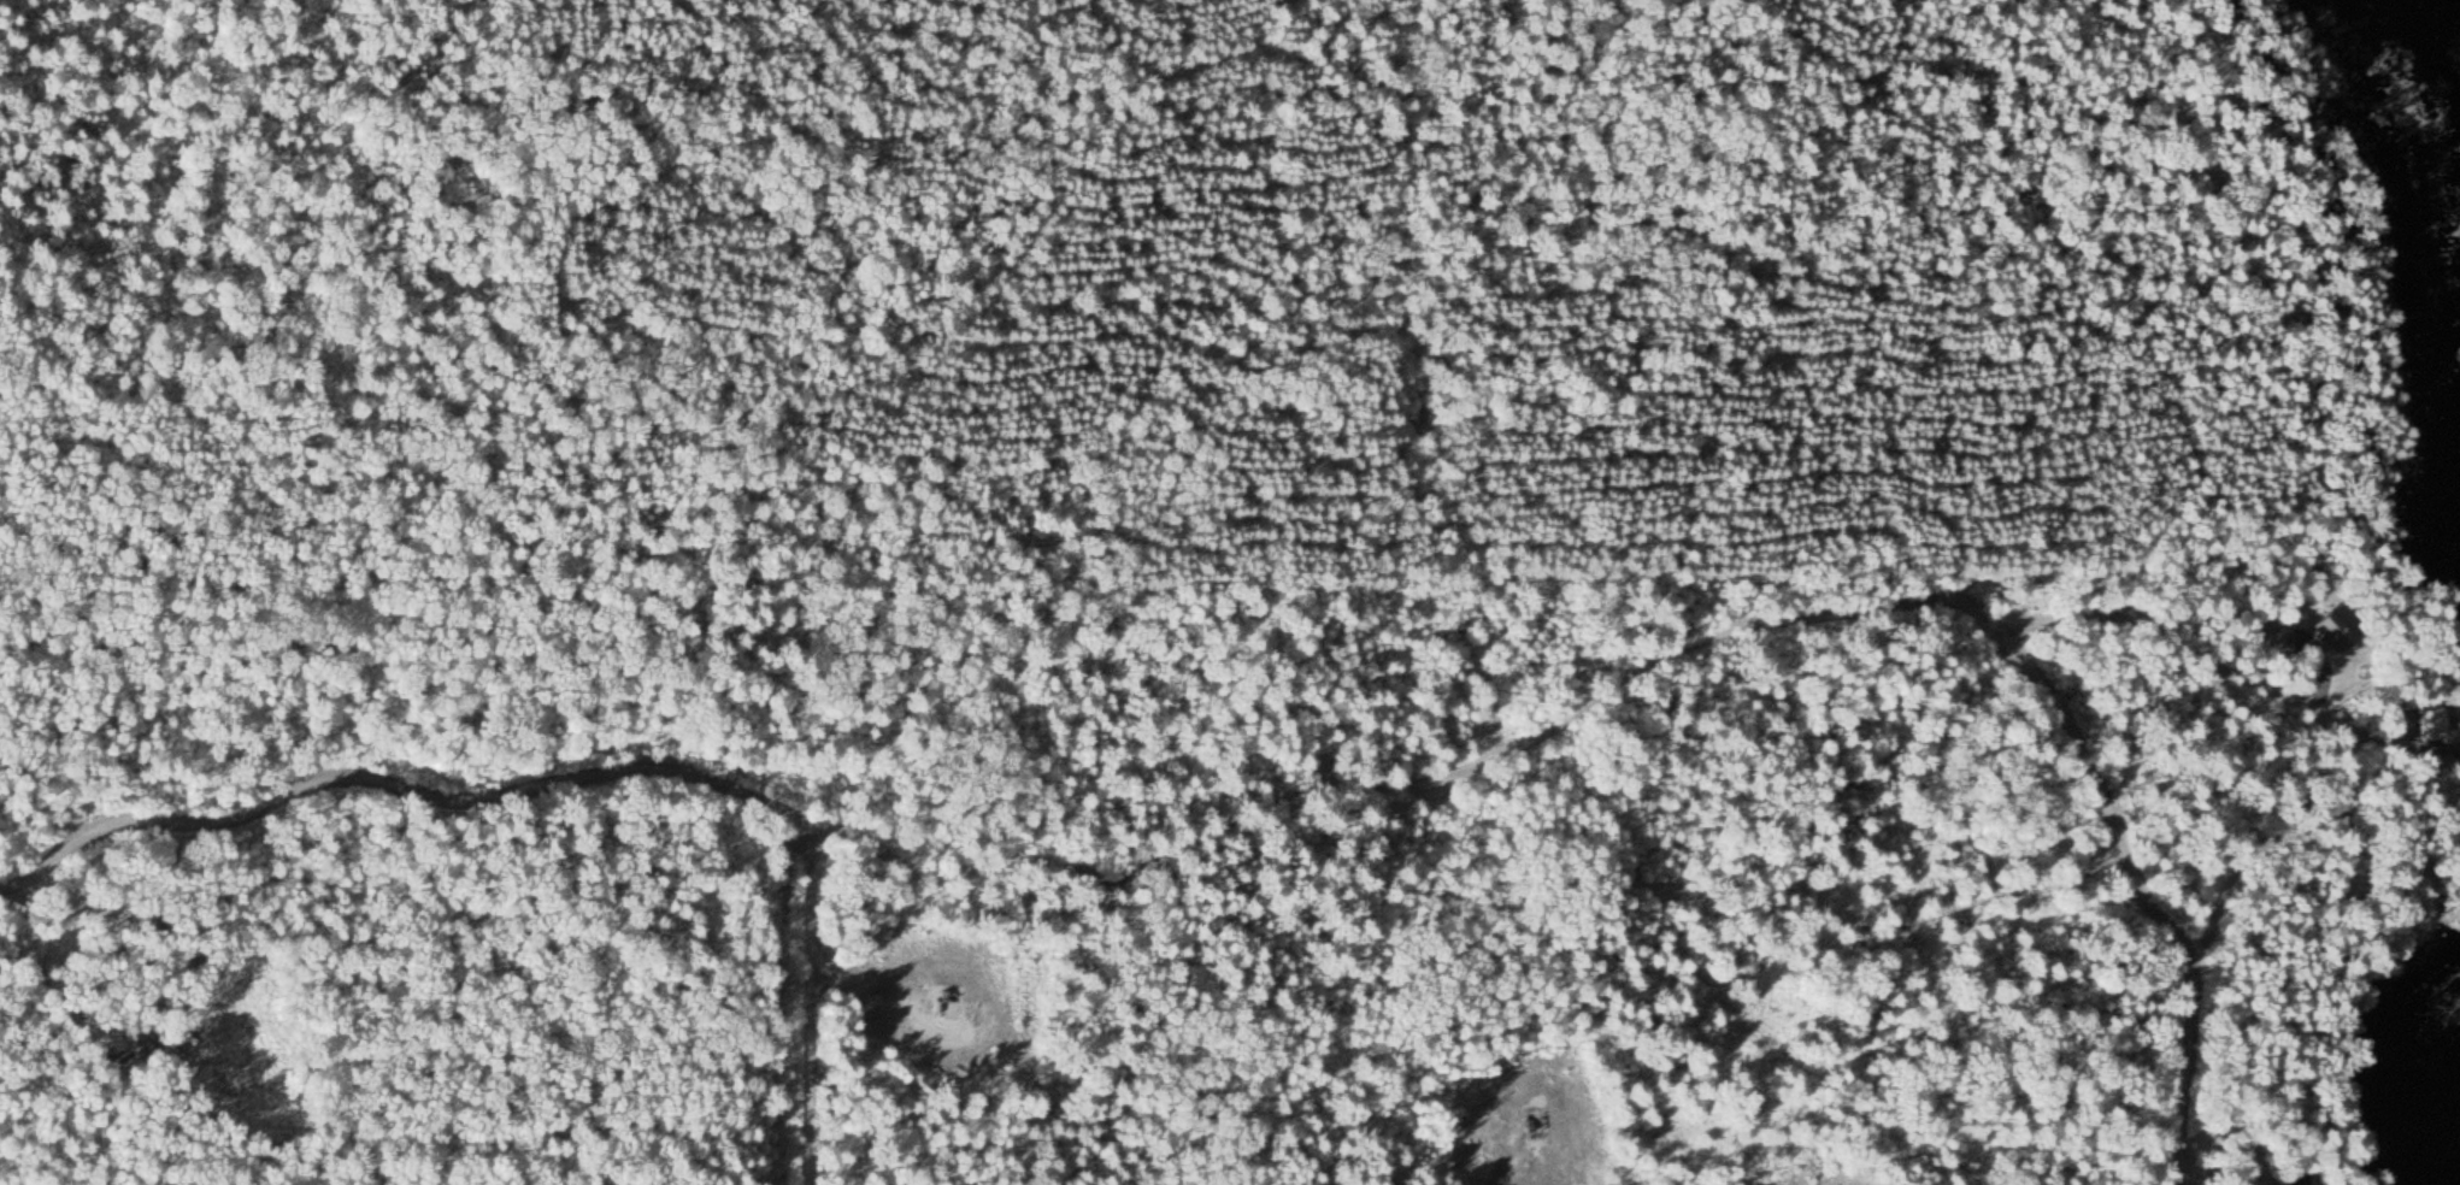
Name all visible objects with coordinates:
road: (1419, 383)
building: (2334, 630)
building: (2268, 642)
road: (2017, 655)
road: (2313, 707)
building: (2430, 724)
road: (745, 800)
road: (782, 1001)
building: (2294, 1175)

